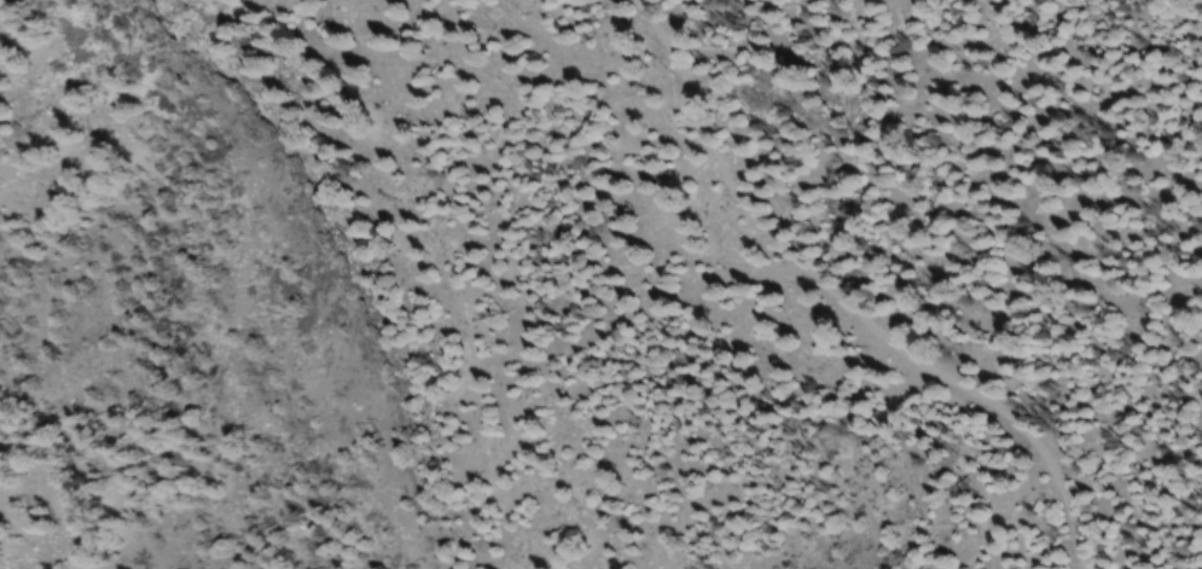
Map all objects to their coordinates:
road: (849, 303)

